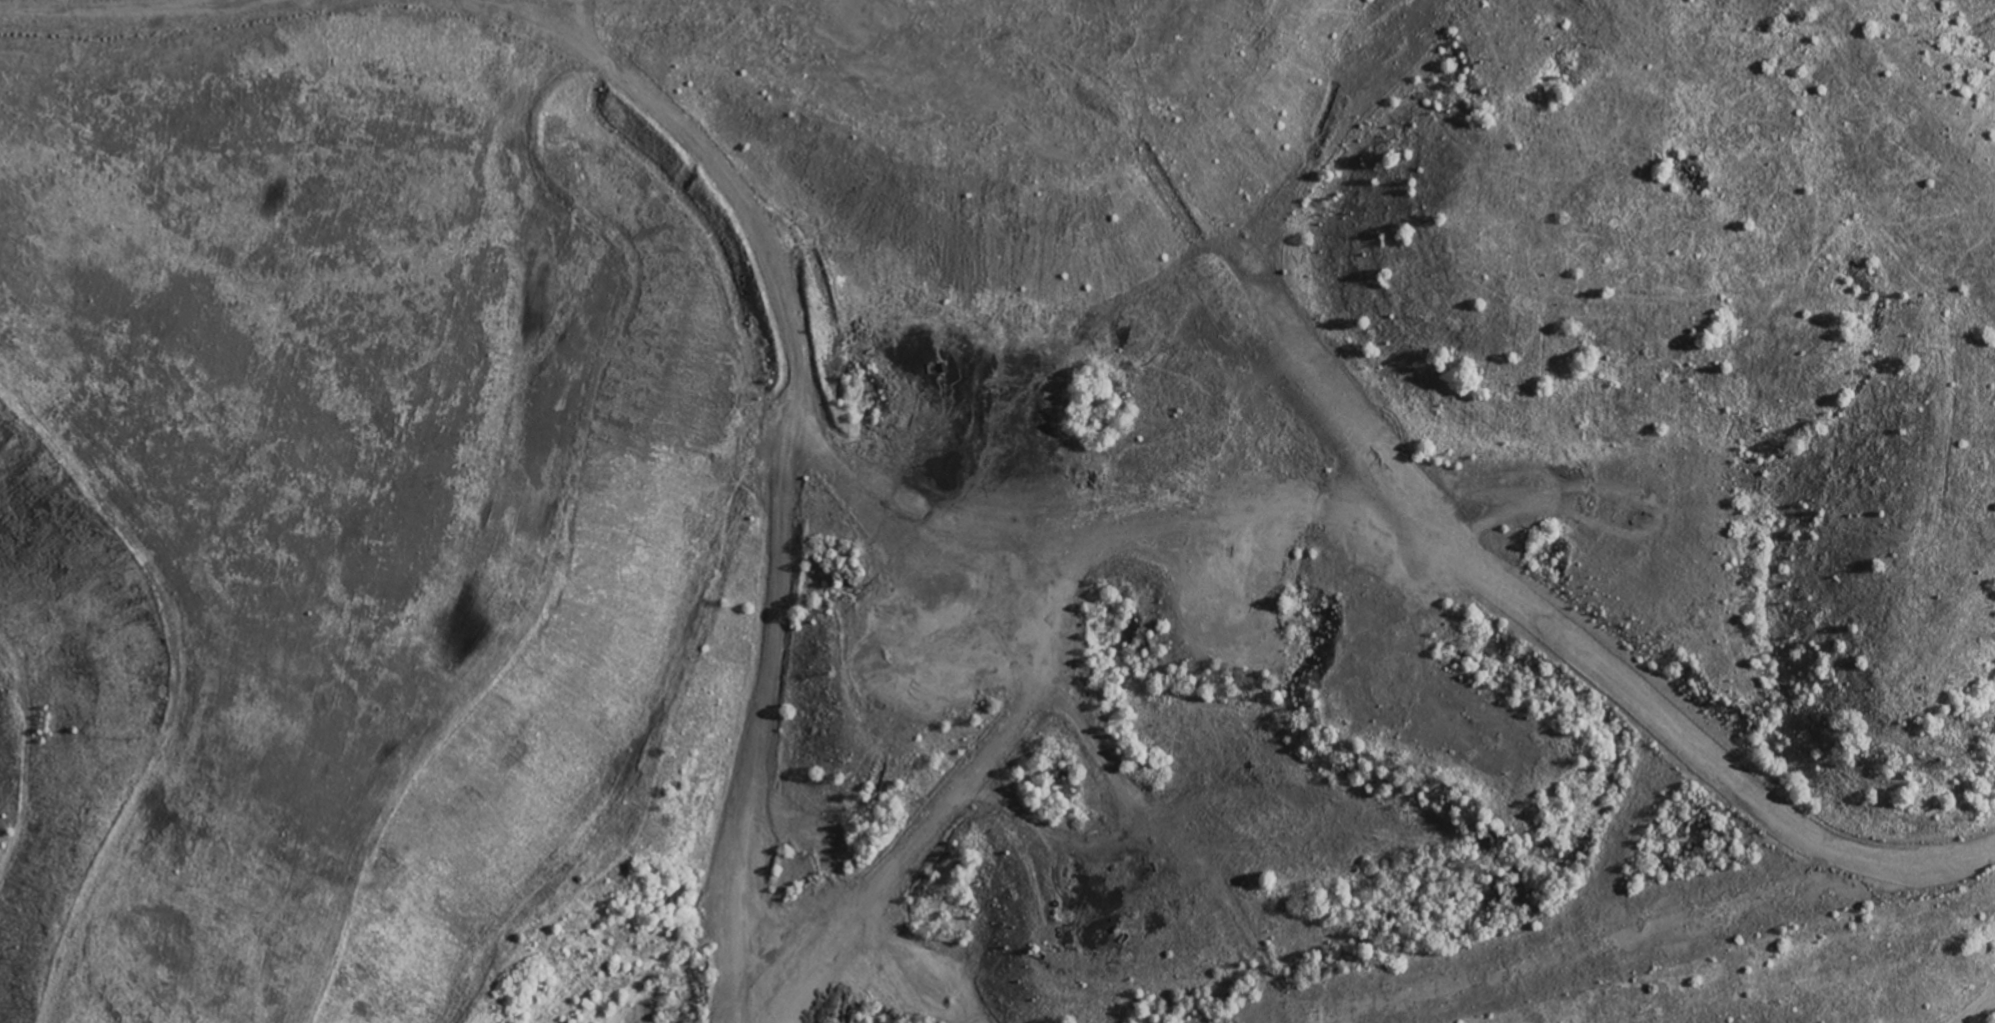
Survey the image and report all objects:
quarry: (999, 505)
road: (859, 682)
road: (1981, 1010)

